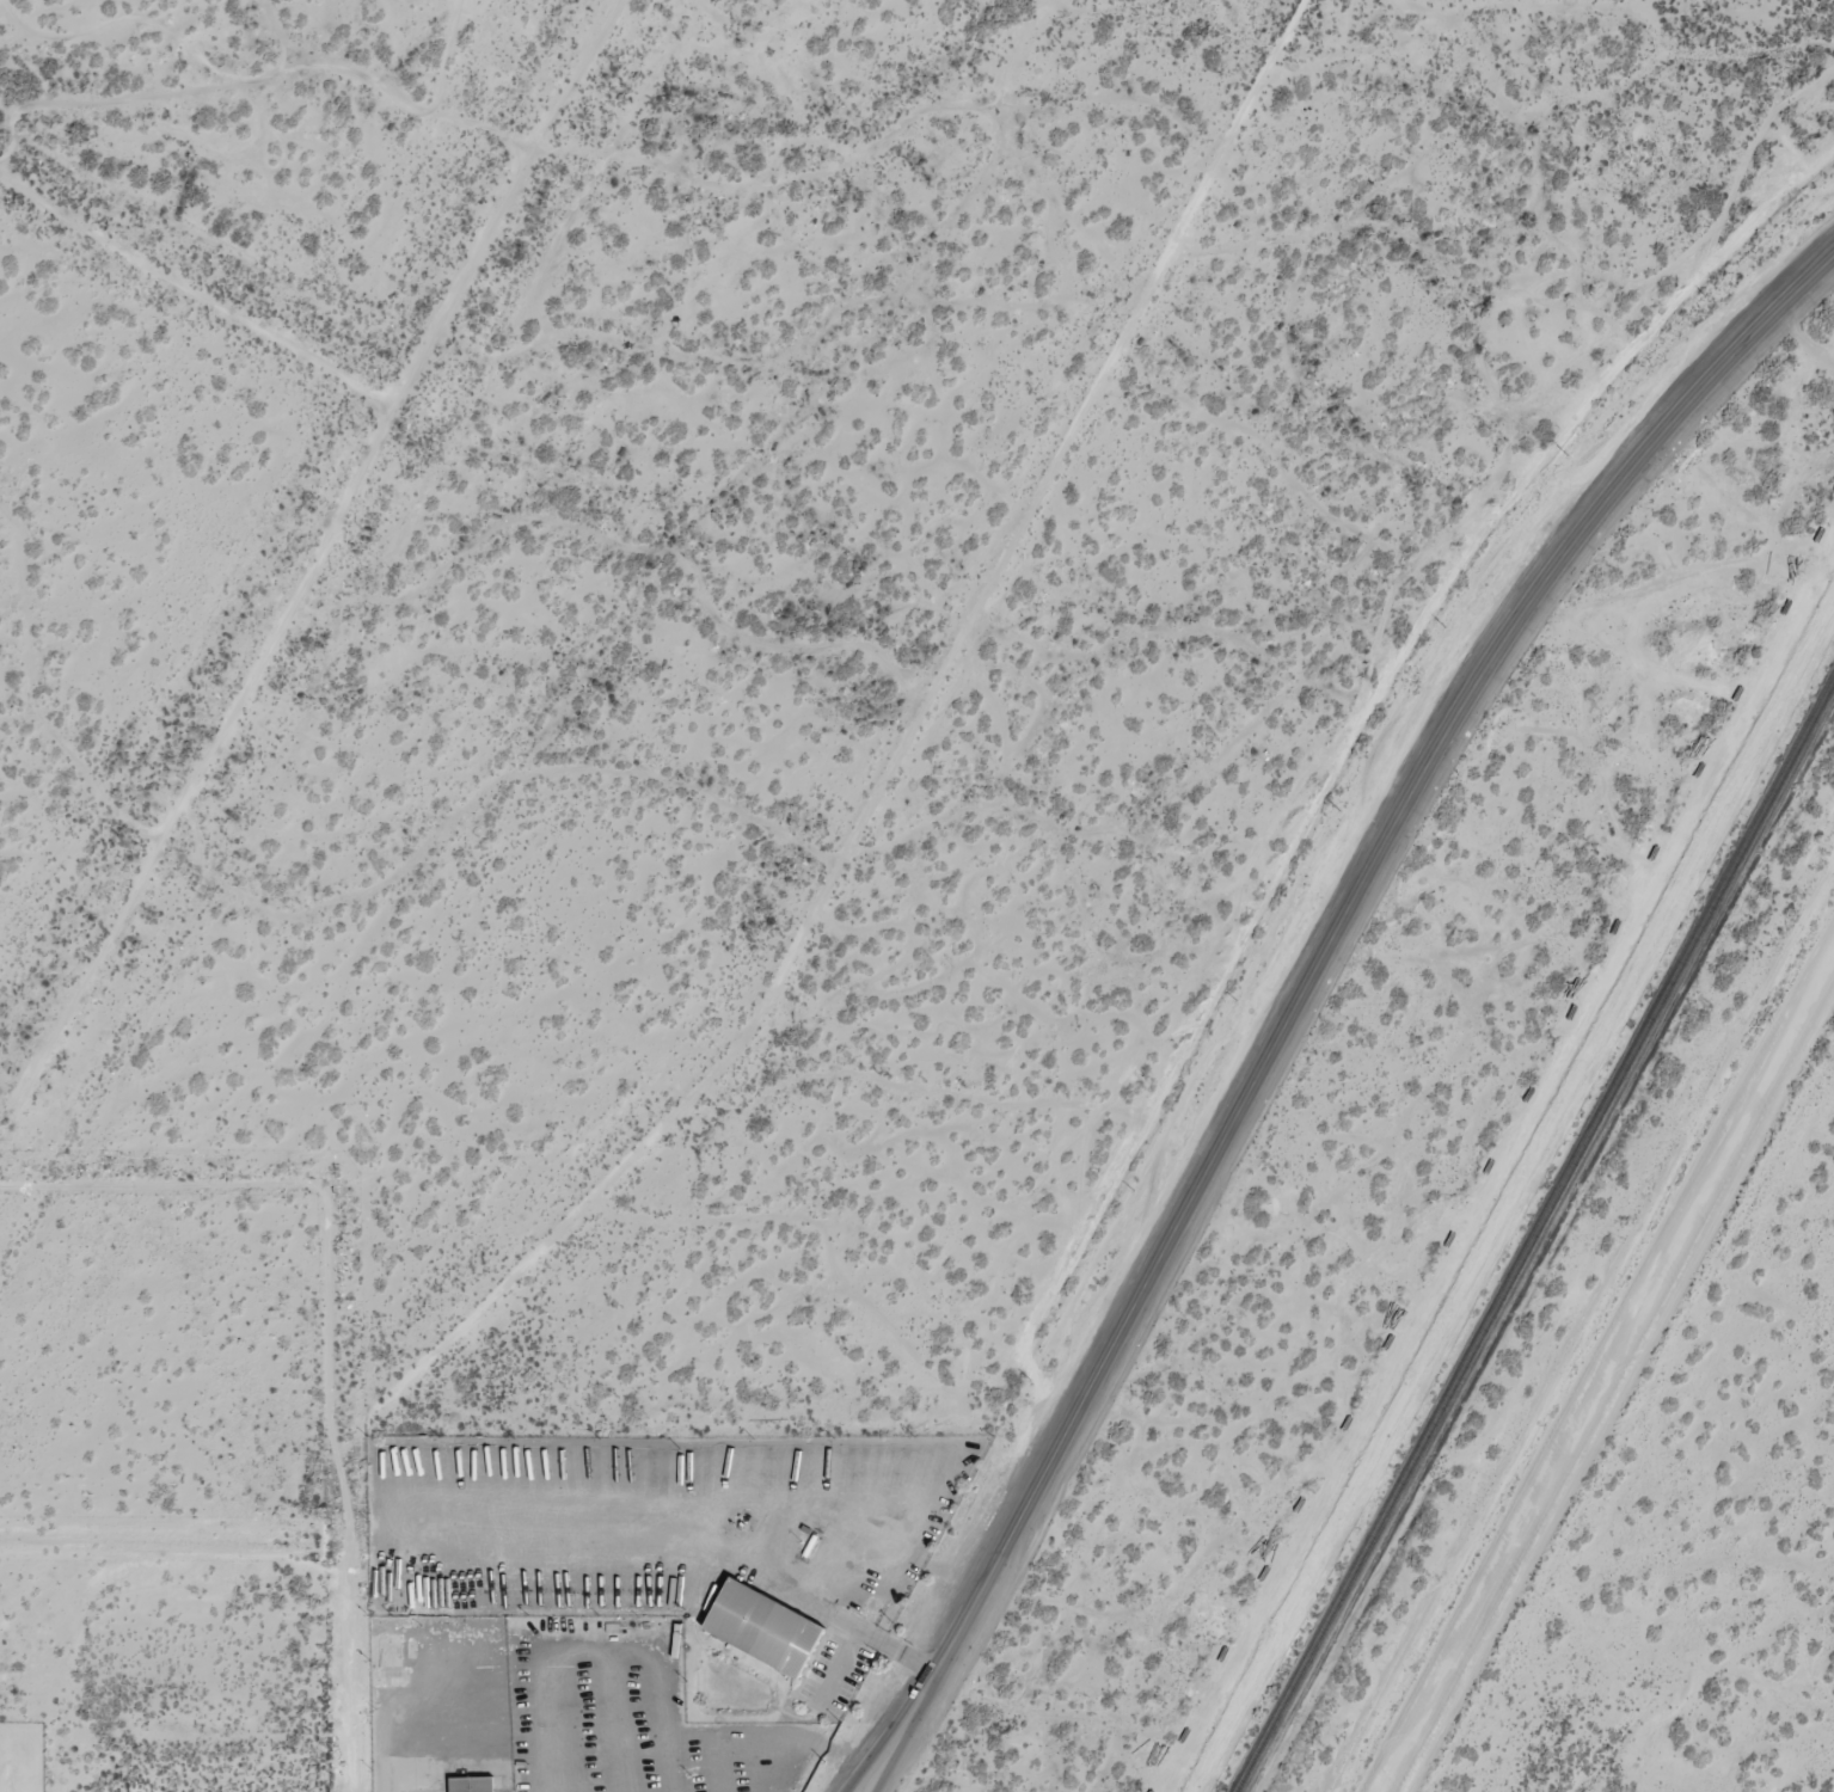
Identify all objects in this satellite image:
road: (393, 398)
road: (1323, 955)
railway: (1534, 1235)
building: (762, 1627)
road: (882, 1756)
road: (891, 1756)
building: (471, 1784)

